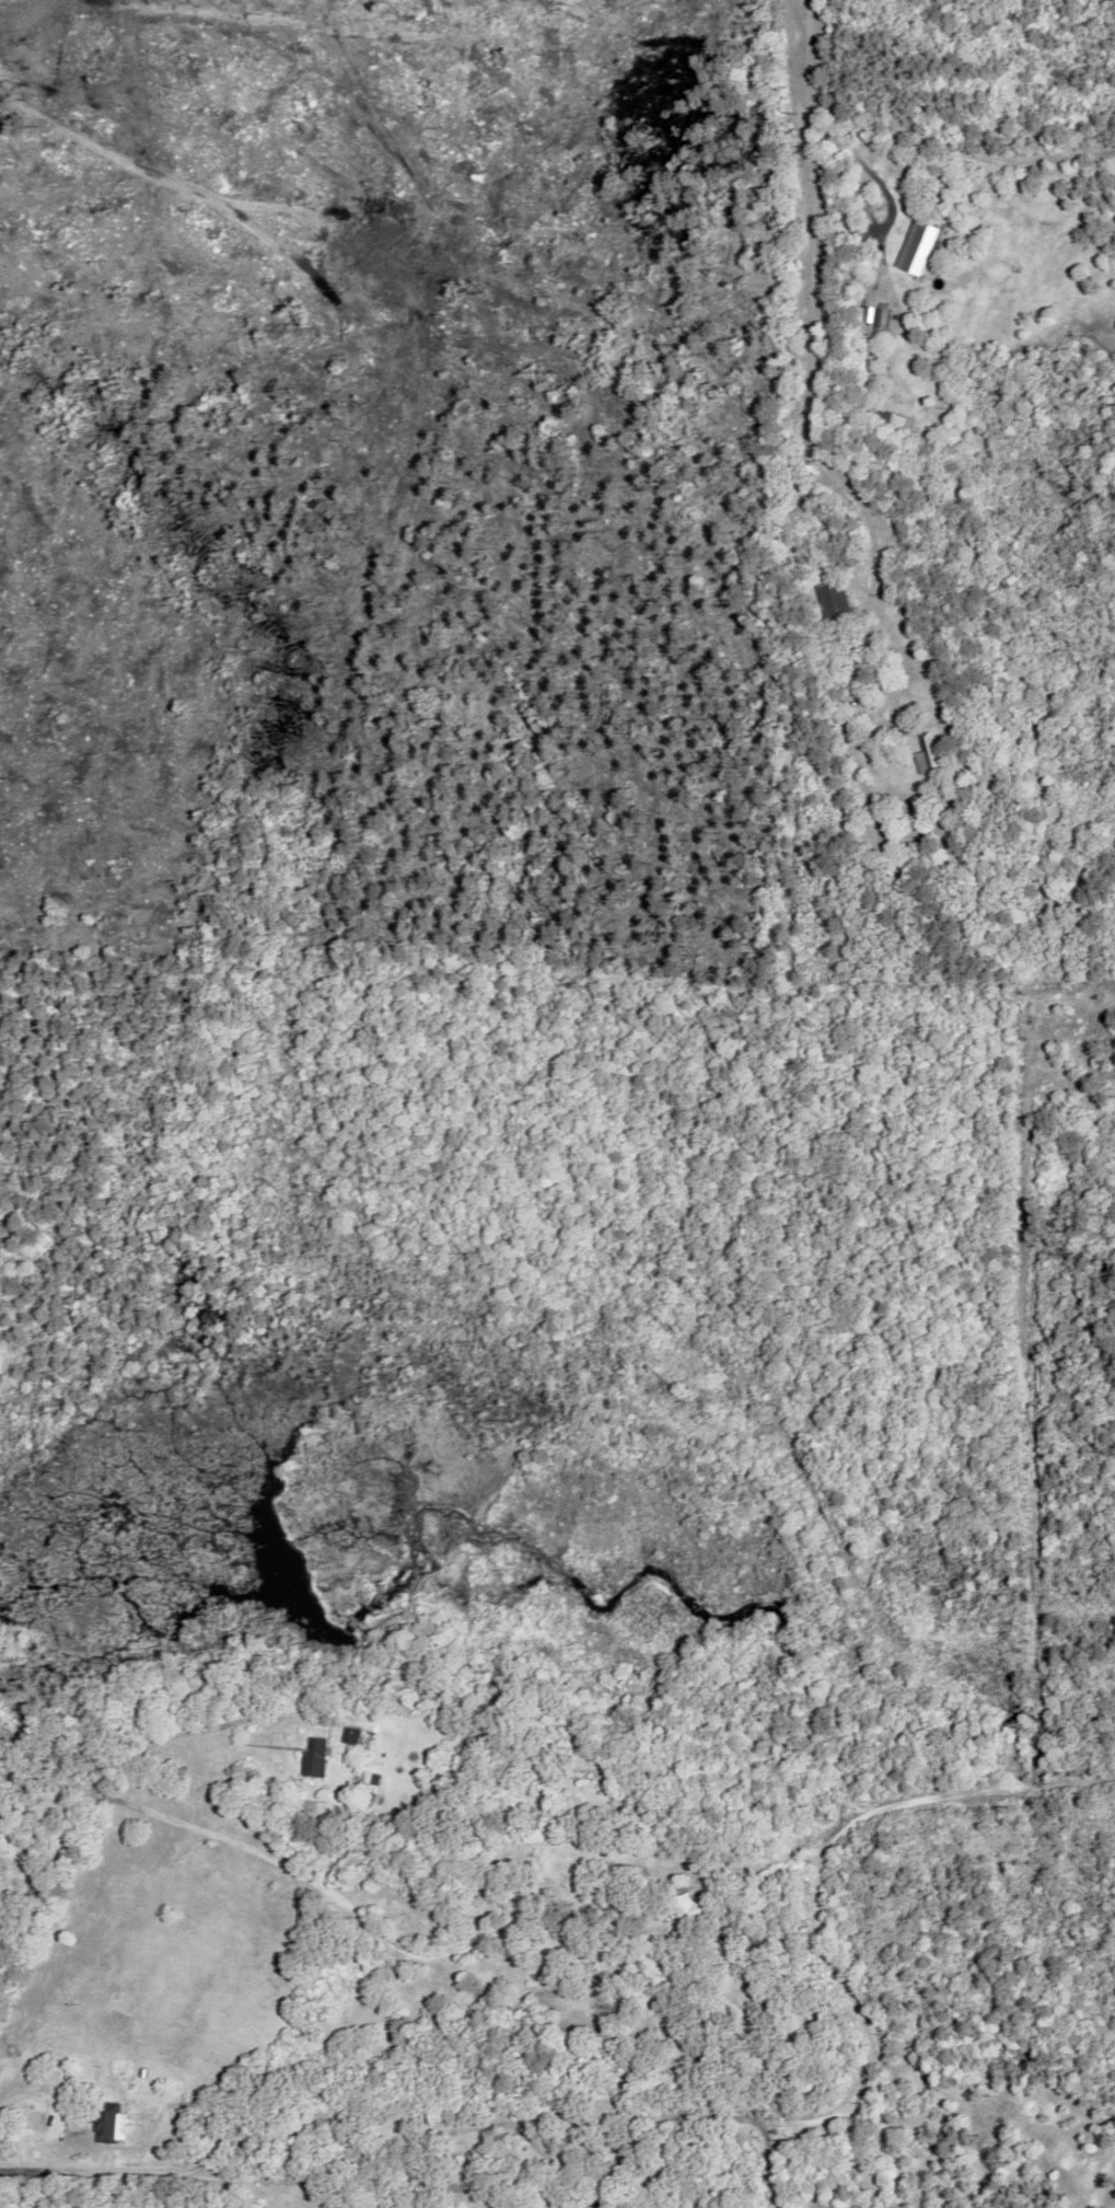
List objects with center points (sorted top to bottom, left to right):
road: (859, 160)
building: (919, 247)
building: (881, 316)
road: (813, 327)
building: (896, 563)
building: (836, 601)
building: (905, 612)
road: (870, 706)
building: (928, 755)
road: (186, 1731)
building: (350, 1732)
building: (314, 1754)
building: (370, 1785)
road: (48, 1877)
building: (693, 1907)
road: (351, 1909)
road: (9, 1922)
building: (710, 2005)
building: (745, 2048)
building: (140, 2069)
building: (152, 2070)
road: (57, 2111)
road: (711, 2115)
building: (106, 2119)
road: (1, 2140)
road: (770, 2164)
road: (368, 2180)
building: (605, 2206)

